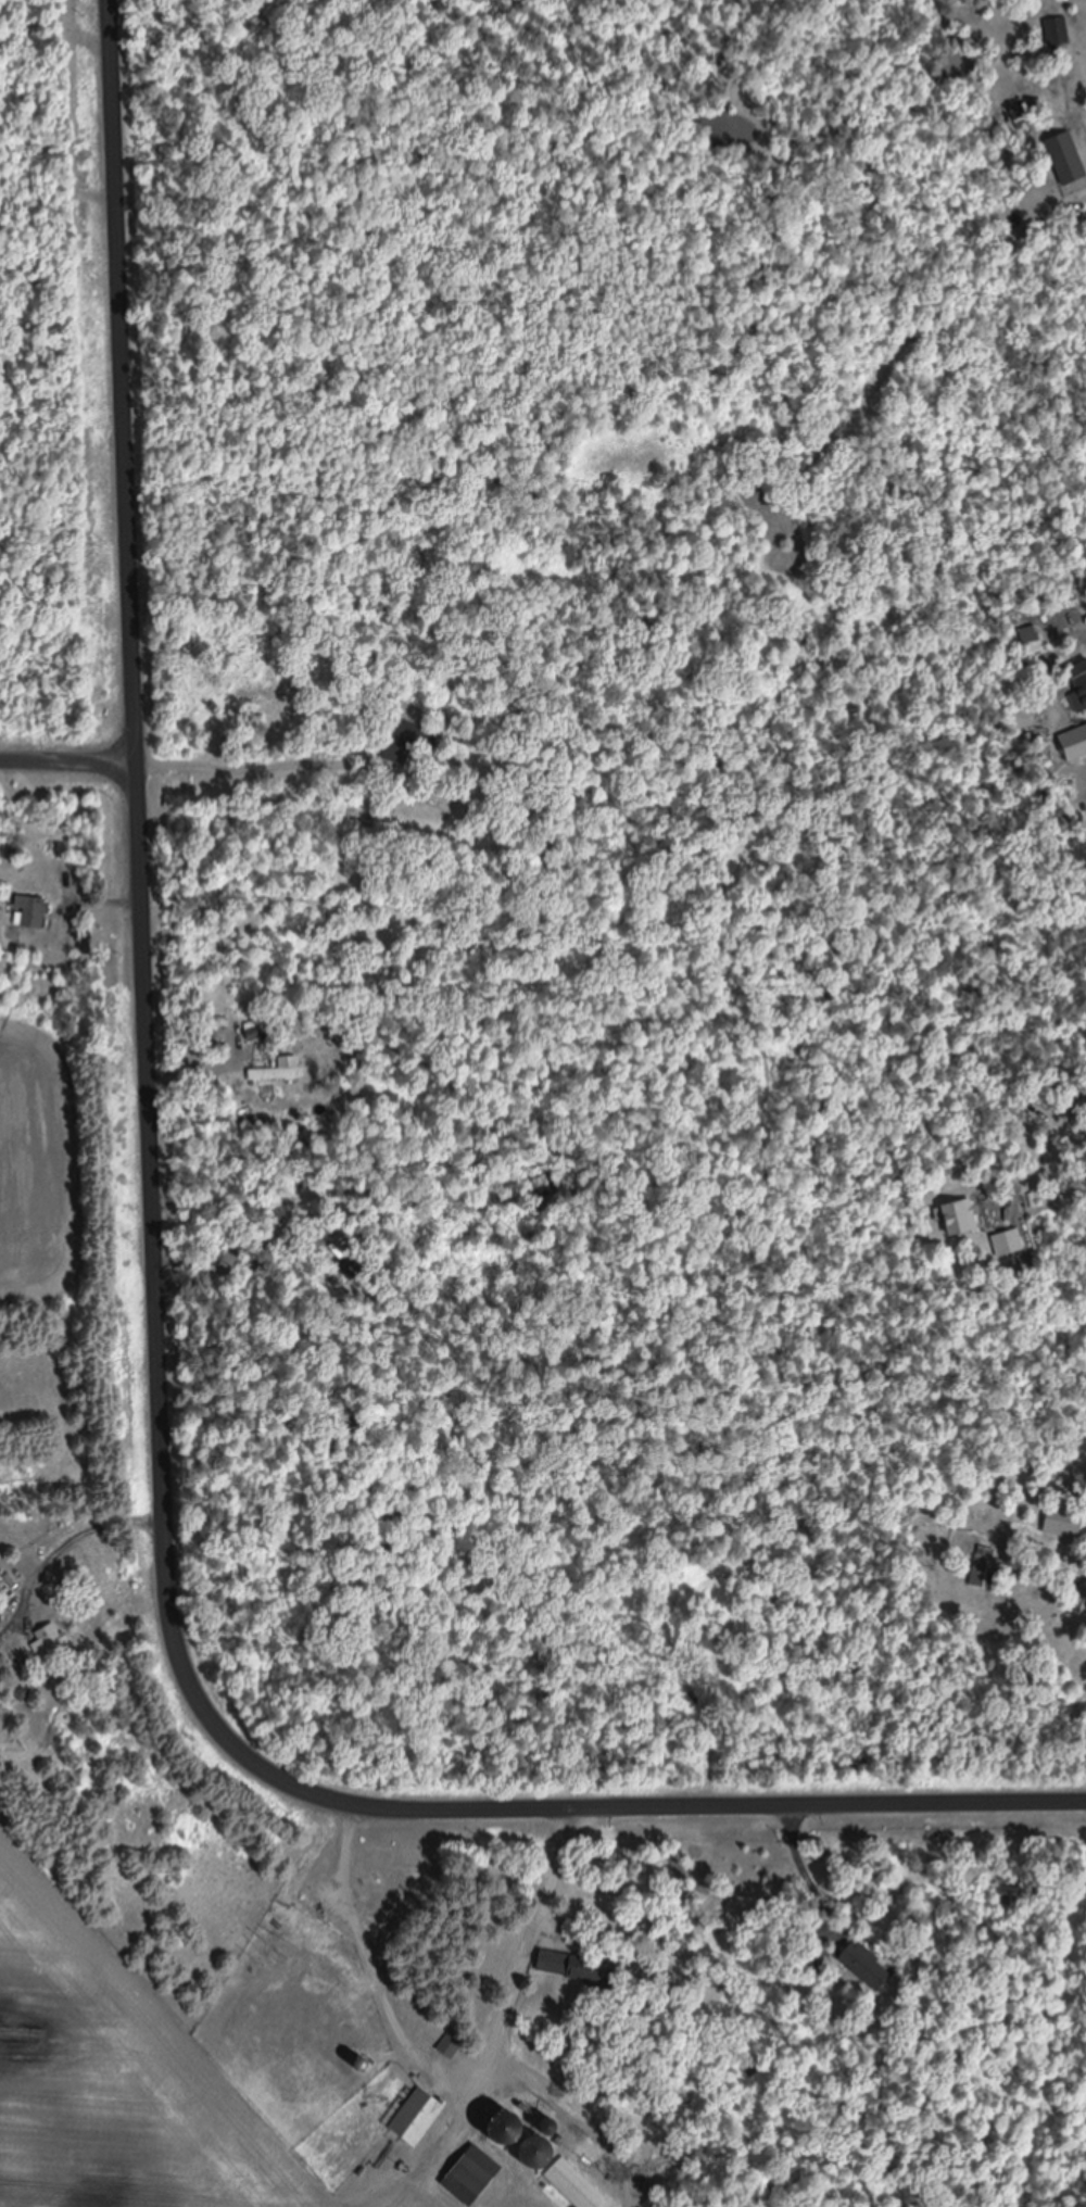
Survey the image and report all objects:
building: (1057, 30)
building: (1066, 157)
building: (1079, 678)
building: (409, 737)
road: (68, 740)
building: (30, 912)
building: (258, 1025)
building: (963, 1216)
building: (1009, 1243)
road: (160, 1307)
building: (1064, 1521)
building: (988, 1569)
building: (51, 1641)
road: (527, 1953)
building: (868, 1964)
building: (582, 1968)
building: (453, 2042)
building: (418, 2115)
building: (512, 2134)
building: (477, 2173)
building: (577, 2184)

